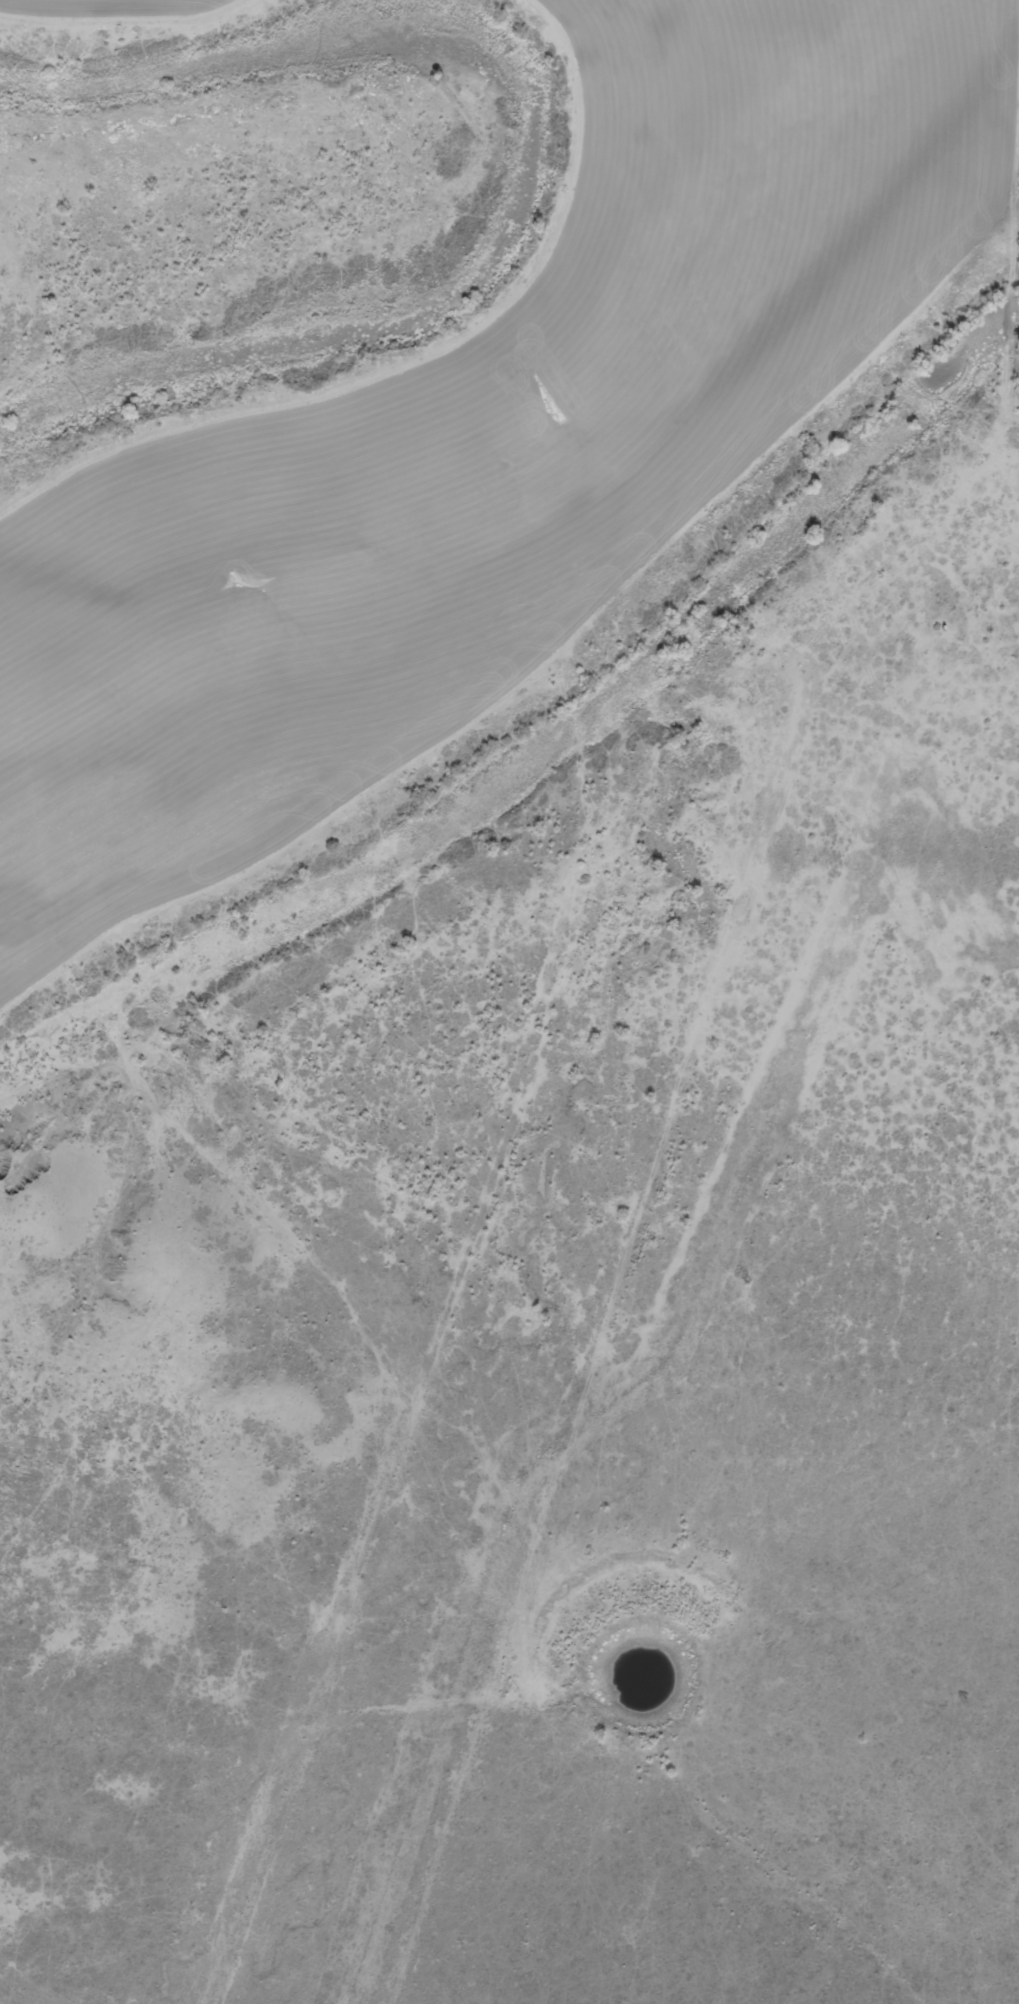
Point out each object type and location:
river: (531, 170)
river: (552, 748)

